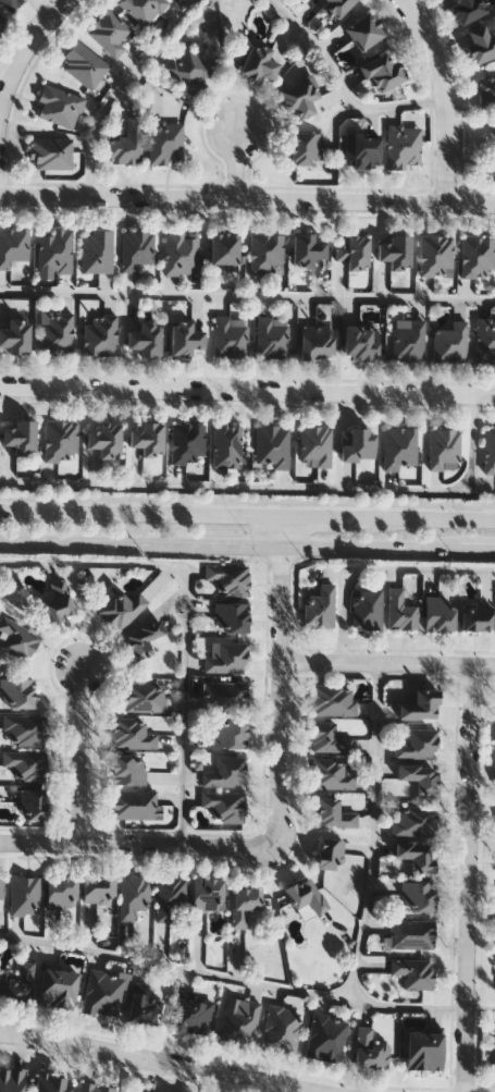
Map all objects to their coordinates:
building: (10, 3)
building: (335, 8)
building: (143, 9)
building: (467, 10)
building: (2, 21)
building: (363, 30)
building: (108, 32)
building: (481, 44)
road: (20, 48)
building: (259, 64)
building: (83, 65)
building: (187, 71)
building: (382, 72)
road: (341, 85)
road: (115, 87)
building: (486, 91)
road: (443, 96)
building: (300, 98)
building: (58, 108)
building: (164, 143)
building: (126, 146)
building: (305, 148)
building: (404, 148)
building: (361, 150)
building: (50, 154)
road: (235, 163)
road: (247, 198)
building: (13, 246)
building: (136, 249)
building: (224, 249)
building: (306, 250)
building: (54, 251)
building: (96, 253)
building: (352, 253)
building: (180, 254)
building: (265, 254)
building: (396, 254)
building: (435, 257)
building: (477, 257)
road: (247, 294)
building: (55, 333)
building: (100, 335)
building: (15, 336)
building: (231, 338)
building: (271, 338)
building: (146, 339)
building: (185, 339)
building: (408, 340)
building: (484, 340)
building: (317, 343)
building: (361, 343)
building: (449, 343)
road: (247, 392)
building: (21, 438)
building: (148, 439)
building: (61, 440)
building: (106, 441)
building: (187, 442)
building: (315, 444)
building: (357, 444)
building: (226, 445)
building: (272, 446)
building: (399, 449)
building: (444, 449)
building: (488, 451)
road: (276, 487)
road: (247, 500)
road: (247, 513)
road: (231, 542)
road: (479, 548)
road: (379, 567)
building: (230, 577)
building: (58, 601)
building: (320, 605)
building: (368, 606)
building: (122, 608)
building: (399, 609)
building: (440, 612)
road: (186, 615)
building: (477, 615)
building: (232, 616)
building: (17, 638)
building: (143, 638)
building: (227, 657)
road: (388, 661)
road: (282, 675)
building: (16, 691)
building: (224, 694)
building: (145, 696)
building: (333, 698)
building: (420, 703)
building: (25, 728)
building: (131, 732)
building: (230, 732)
building: (329, 737)
building: (418, 744)
road: (81, 753)
building: (26, 763)
building: (127, 769)
building: (225, 771)
building: (333, 772)
building: (420, 776)
building: (33, 802)
building: (134, 803)
building: (224, 805)
building: (334, 812)
building: (414, 820)
road: (374, 831)
road: (136, 843)
building: (330, 852)
building: (418, 854)
road: (469, 876)
building: (1, 885)
building: (99, 887)
building: (61, 889)
building: (208, 893)
building: (306, 893)
building: (24, 894)
building: (419, 894)
building: (133, 895)
building: (170, 895)
building: (244, 903)
building: (411, 933)
road: (175, 966)
building: (413, 971)
building: (17, 982)
building: (58, 986)
building: (102, 991)
road: (408, 1005)
building: (146, 1006)
road: (481, 1007)
building: (191, 1014)
building: (240, 1021)
building: (280, 1027)
building: (325, 1035)
building: (369, 1047)
building: (424, 1050)
building: (494, 1055)
road: (161, 1062)
building: (12, 1079)
building: (51, 1082)
building: (95, 1087)
building: (139, 1090)

